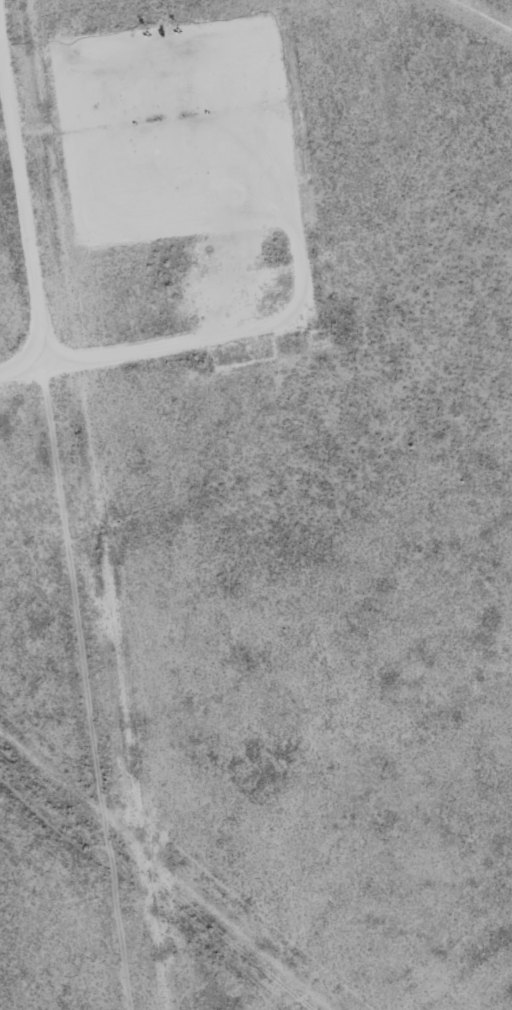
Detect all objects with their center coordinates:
road: (27, 203)

